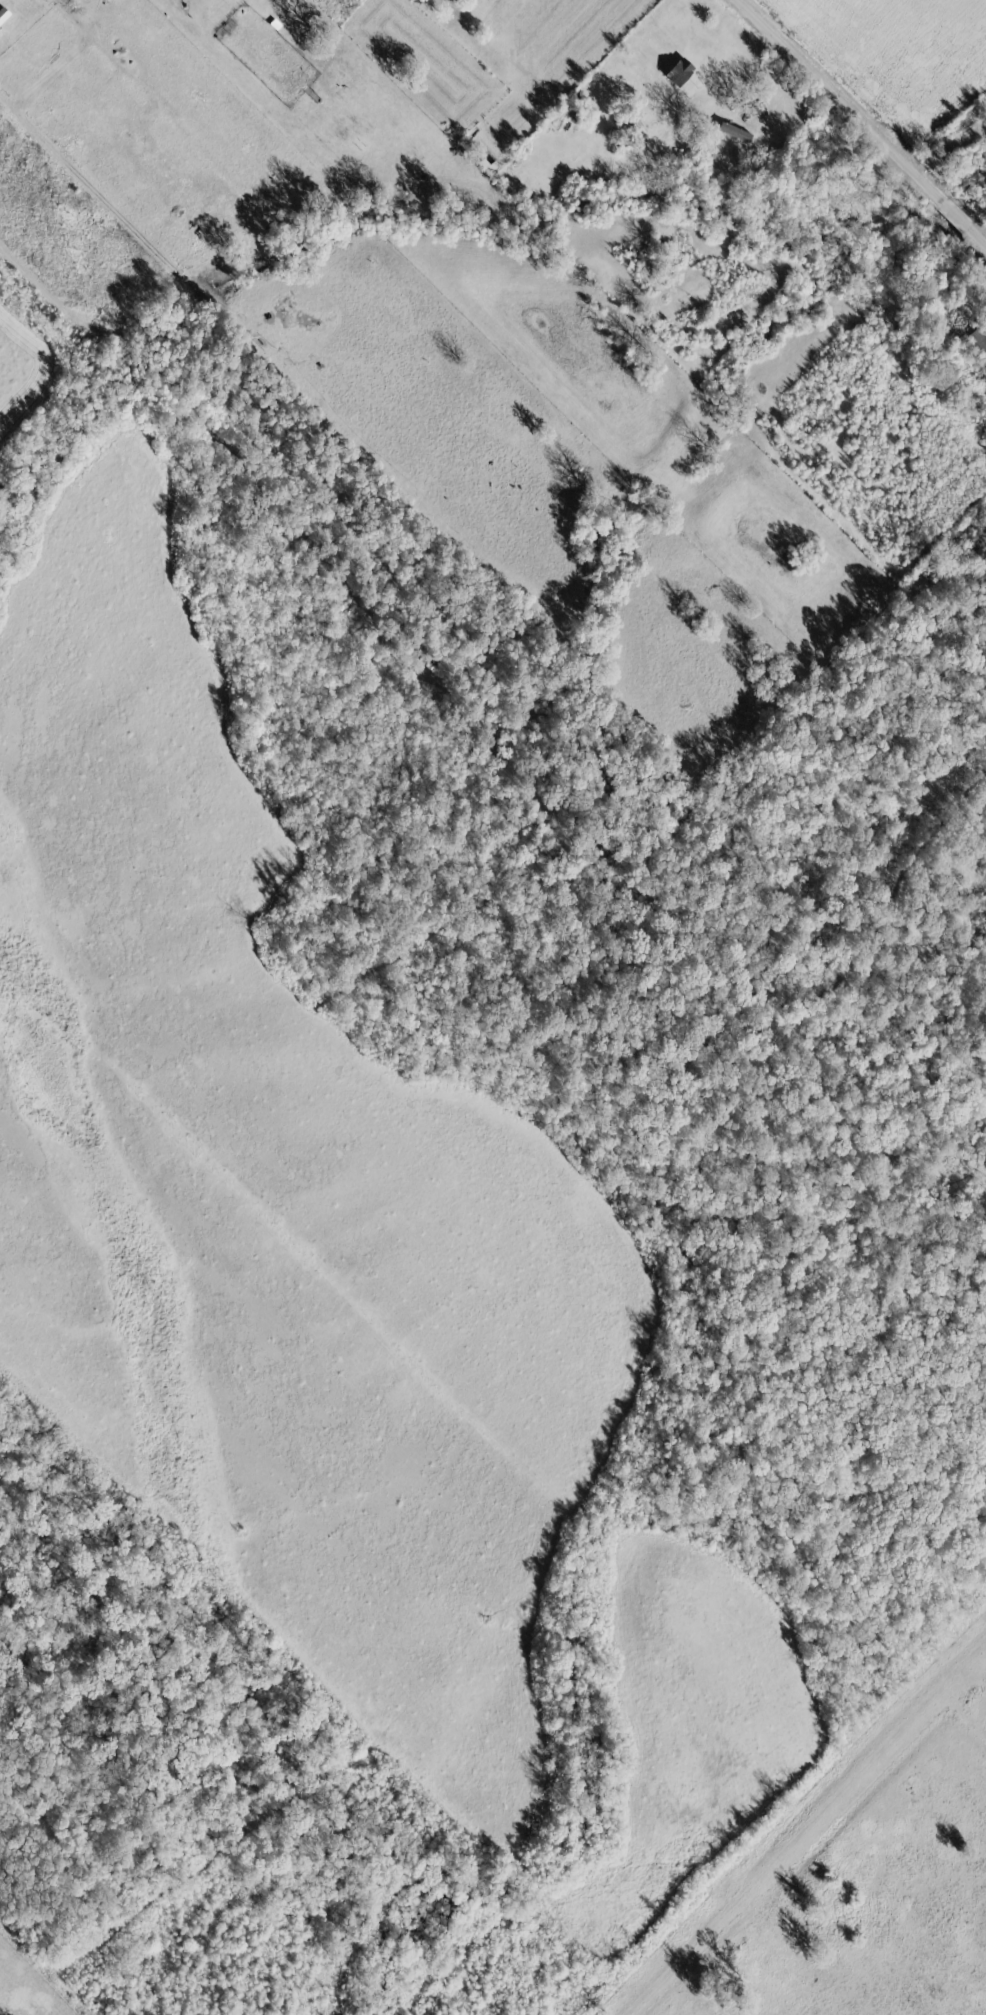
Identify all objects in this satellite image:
building: (181, 0)
road: (8, 9)
road: (1, 14)
building: (4, 15)
building: (0, 30)
road: (113, 51)
road: (54, 70)
building: (674, 70)
road: (9, 102)
road: (864, 118)
road: (146, 122)
building: (730, 132)
building: (484, 166)

